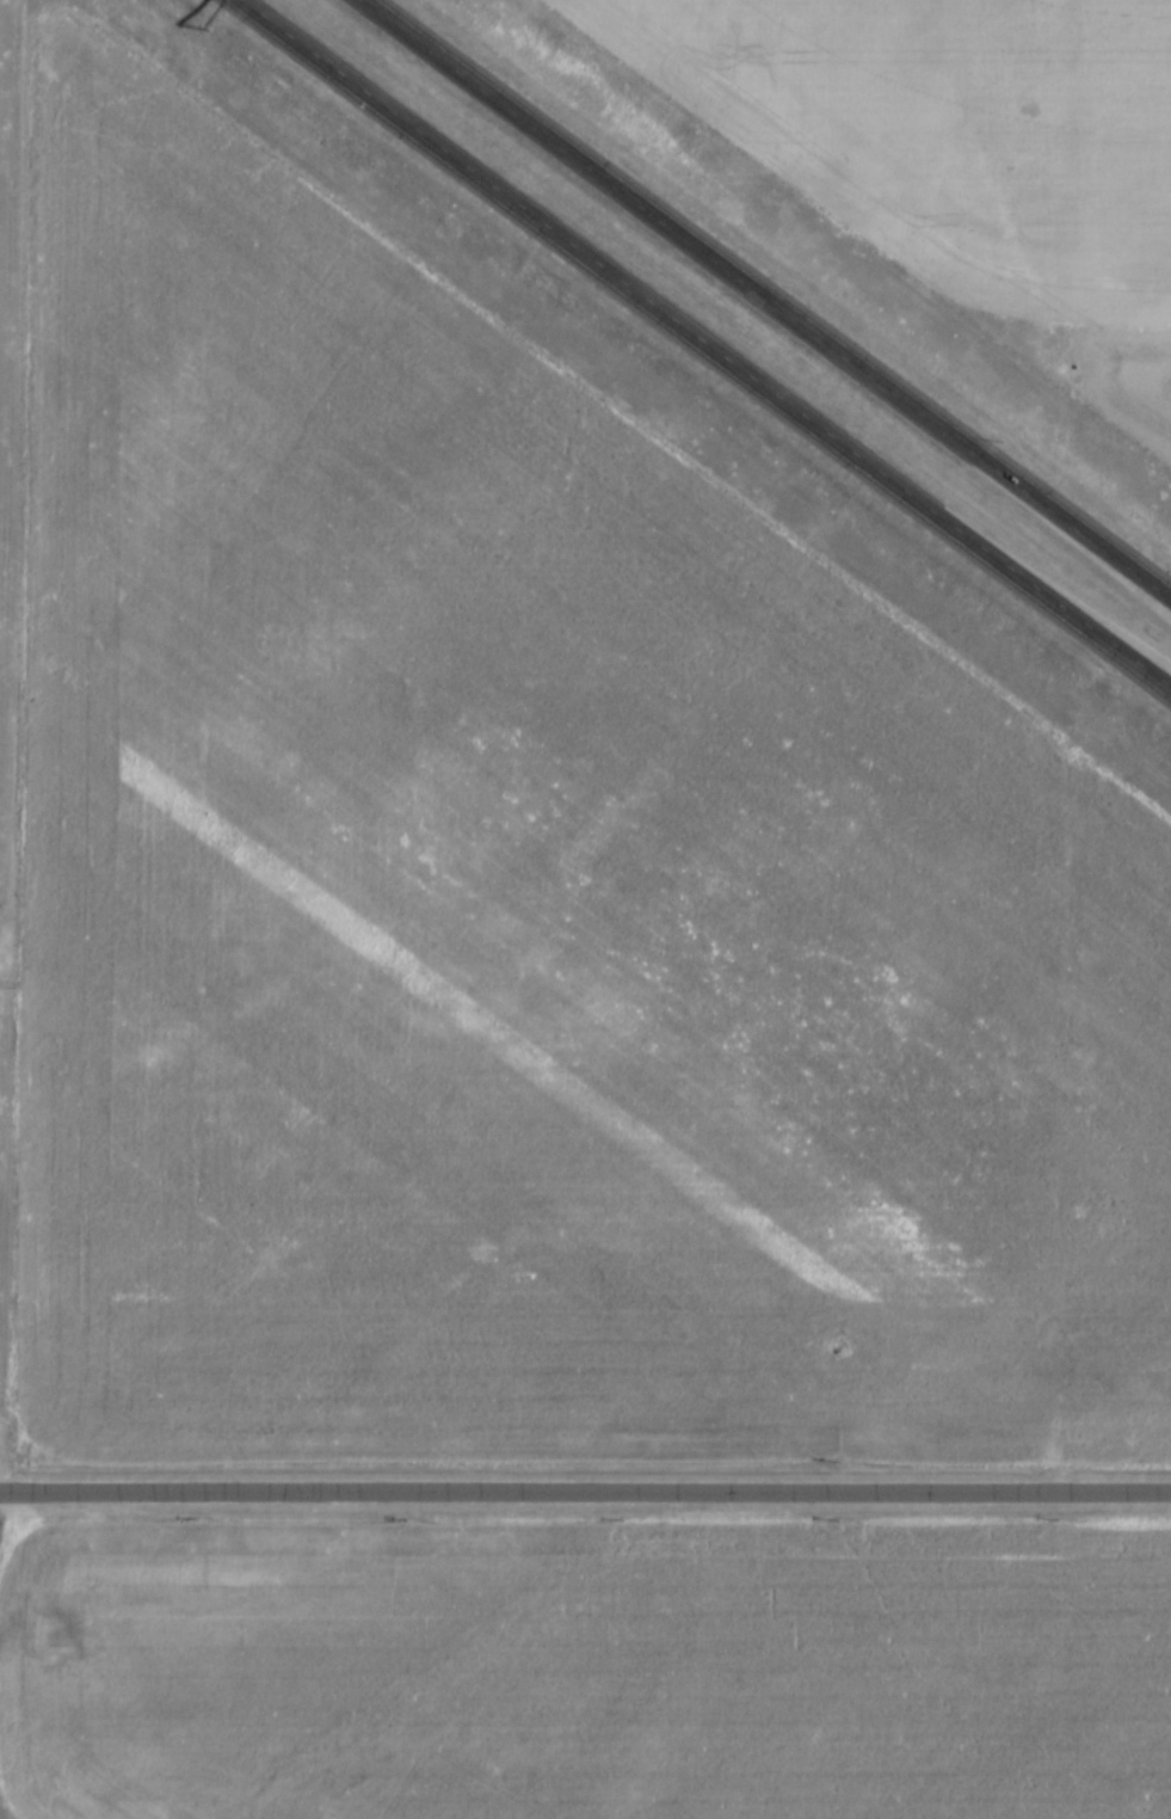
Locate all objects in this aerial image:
crop: (956, 159)
road: (769, 296)
road: (705, 343)
crop: (513, 914)
road: (585, 1491)
crop: (587, 1670)

